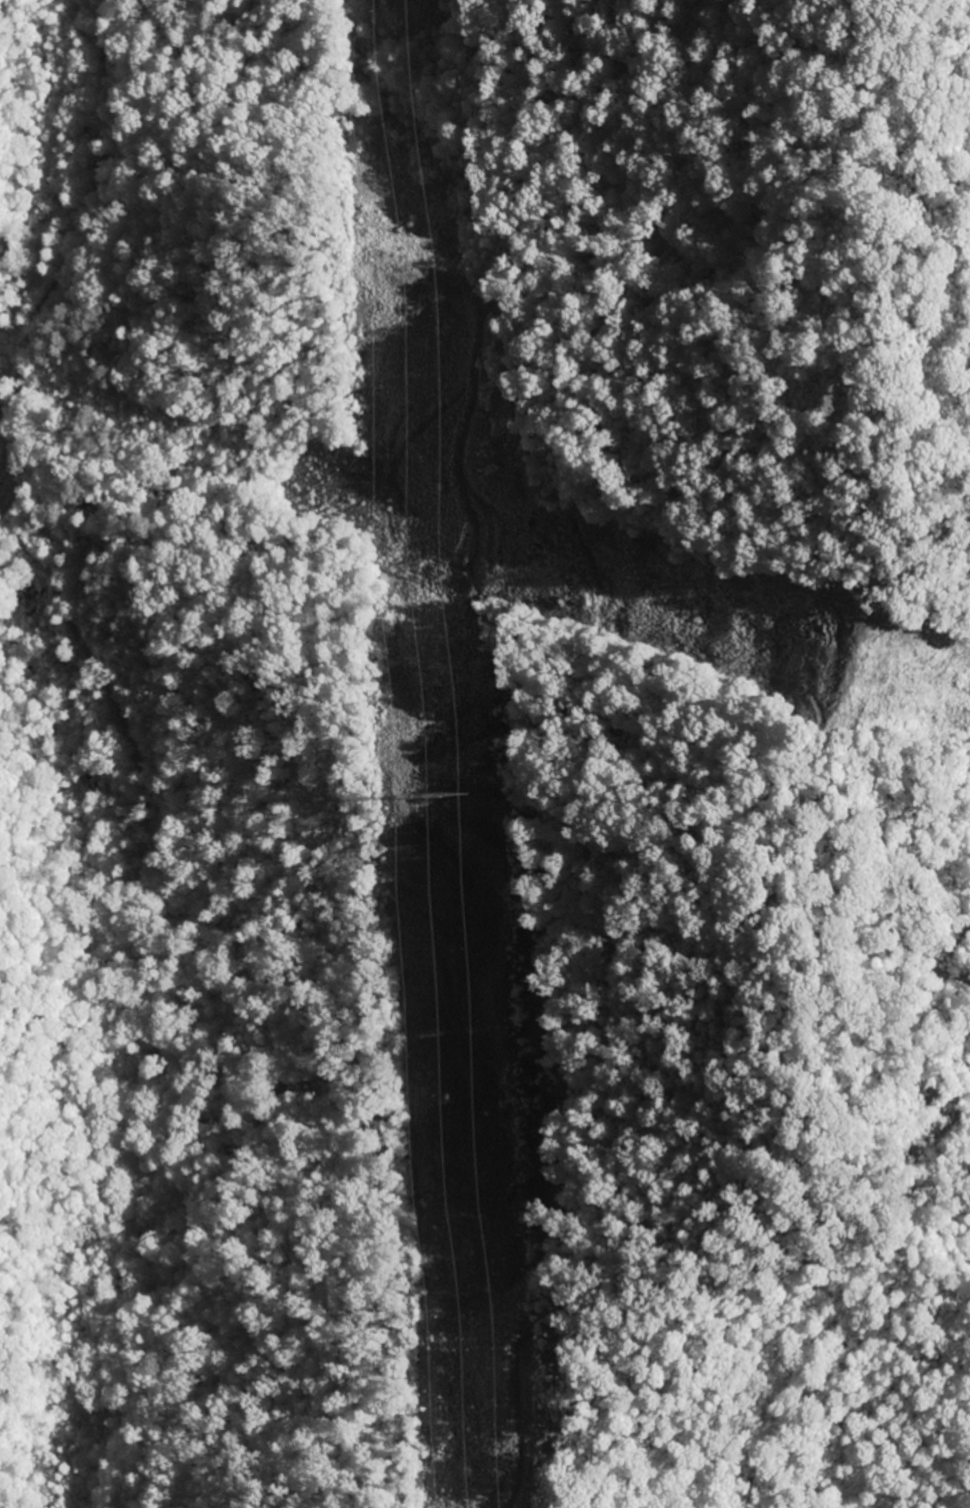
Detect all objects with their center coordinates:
road: (41, 184)
building: (31, 593)
power tower: (440, 792)

